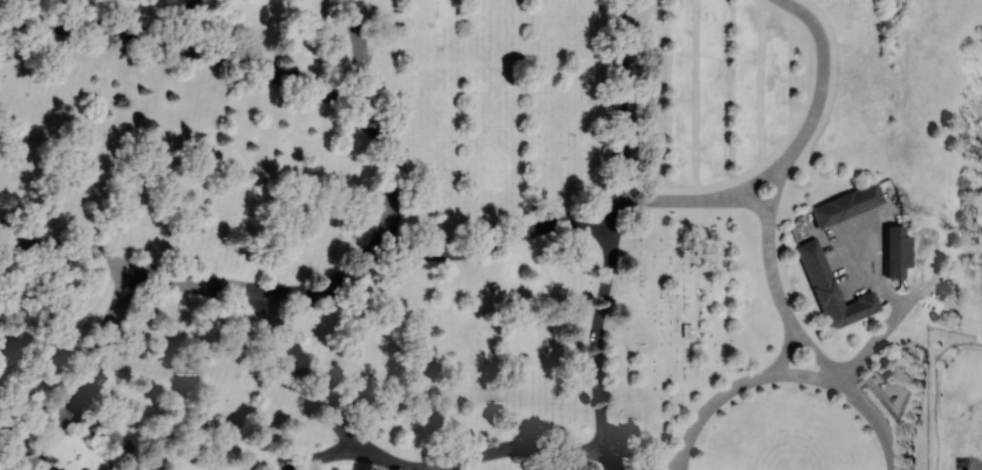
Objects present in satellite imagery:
road: (192, 23)
road: (94, 27)
road: (360, 55)
road: (823, 77)
road: (344, 99)
road: (621, 100)
road: (755, 184)
road: (775, 189)
road: (749, 199)
road: (673, 201)
building: (850, 207)
road: (597, 209)
road: (616, 224)
road: (595, 227)
park: (465, 235)
road: (64, 251)
road: (478, 251)
building: (900, 251)
road: (874, 268)
road: (772, 272)
road: (925, 273)
road: (193, 282)
road: (327, 286)
building: (835, 292)
road: (107, 336)
building: (12, 343)
road: (875, 344)
road: (595, 350)
road: (787, 351)
road: (817, 353)
road: (37, 366)
road: (305, 373)
road: (809, 374)
building: (892, 397)
road: (710, 406)
road: (877, 421)
road: (49, 434)
road: (109, 435)
road: (976, 447)
road: (325, 456)
road: (478, 456)
road: (616, 461)

